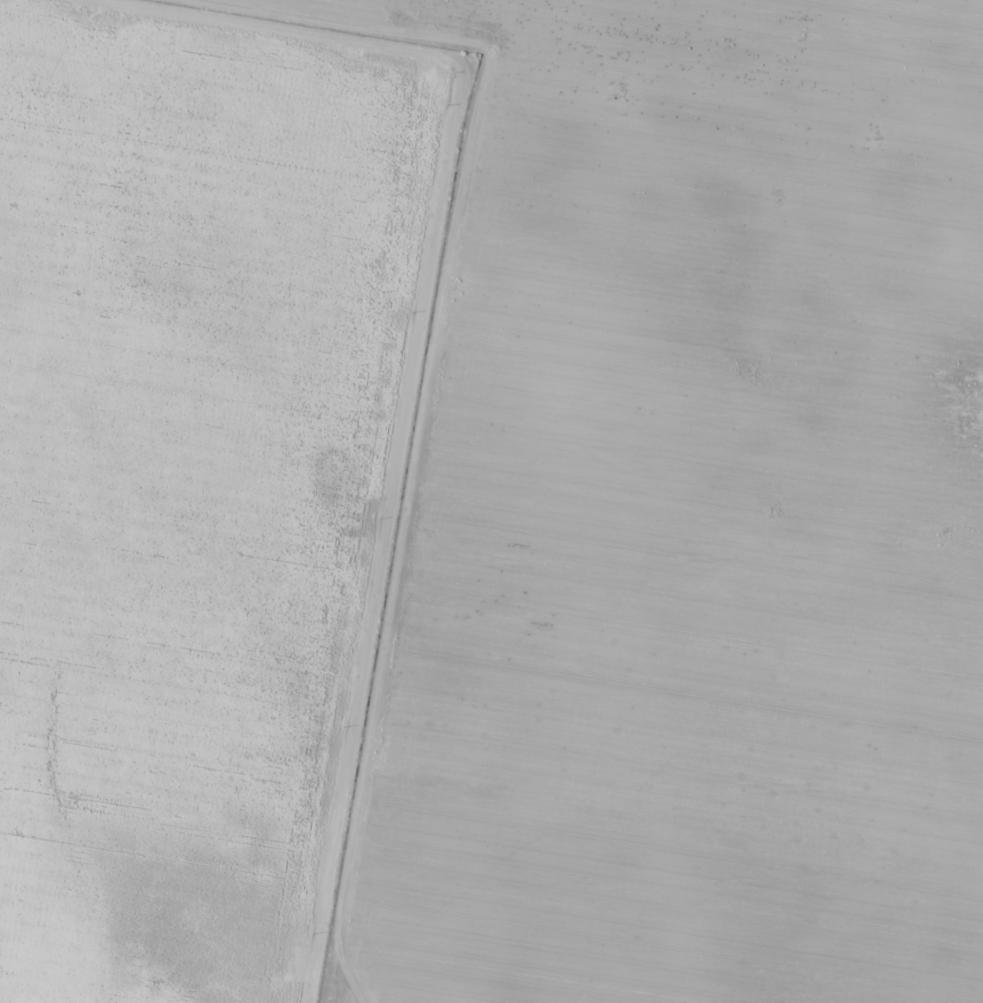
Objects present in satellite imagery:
landfill: (889, 14)
road: (224, 39)

